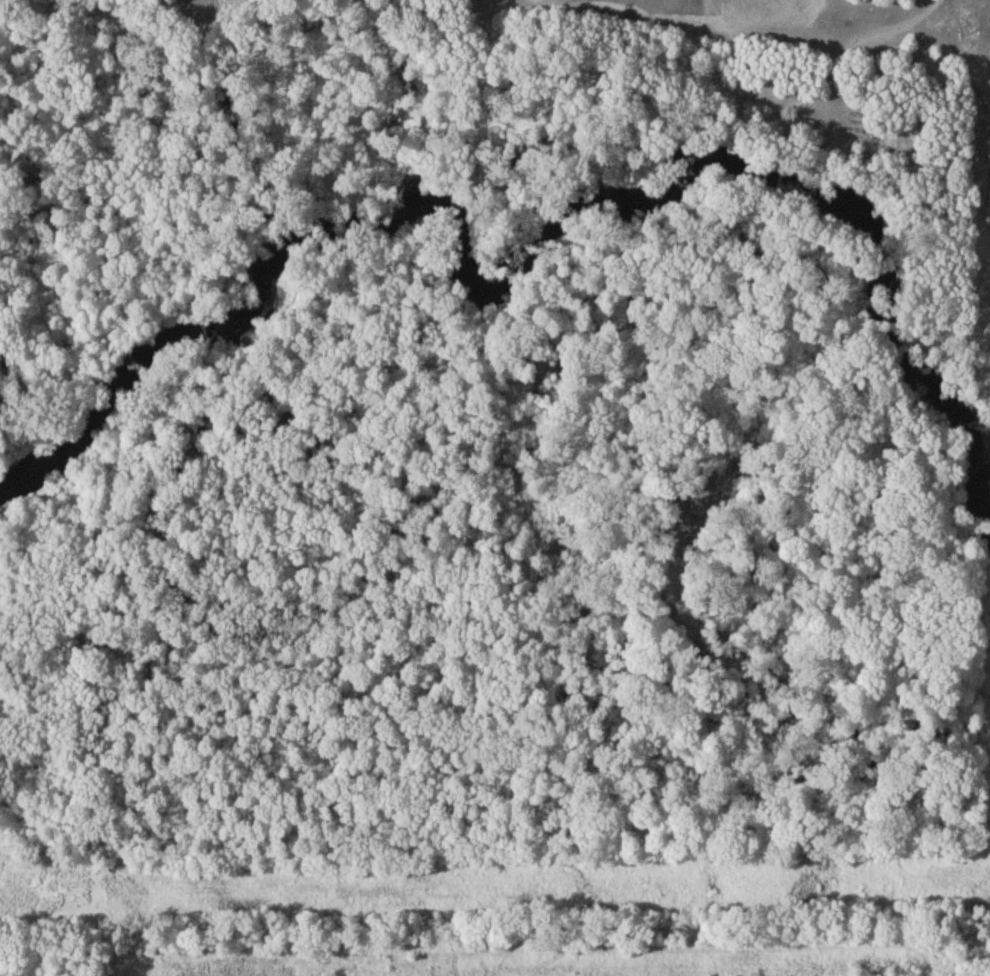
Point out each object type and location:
building: (799, 127)

